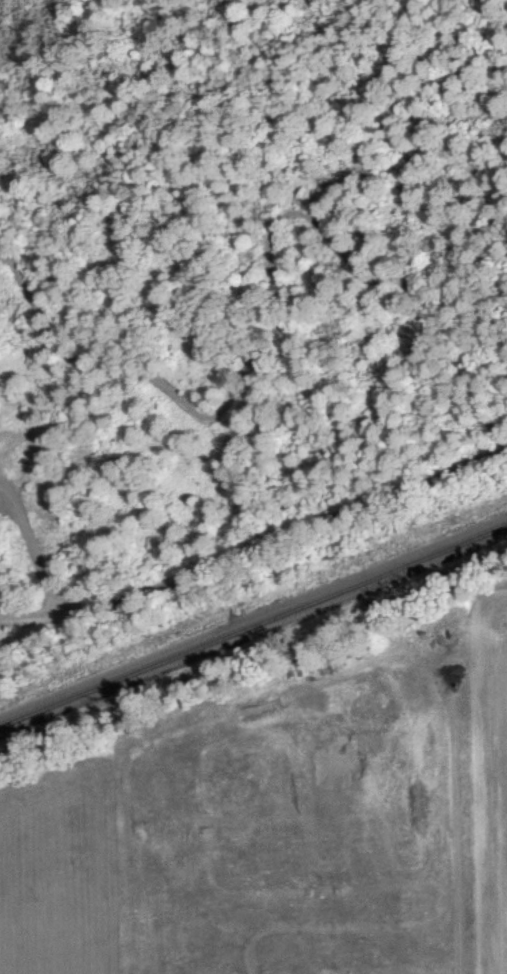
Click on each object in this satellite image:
railway: (253, 629)

